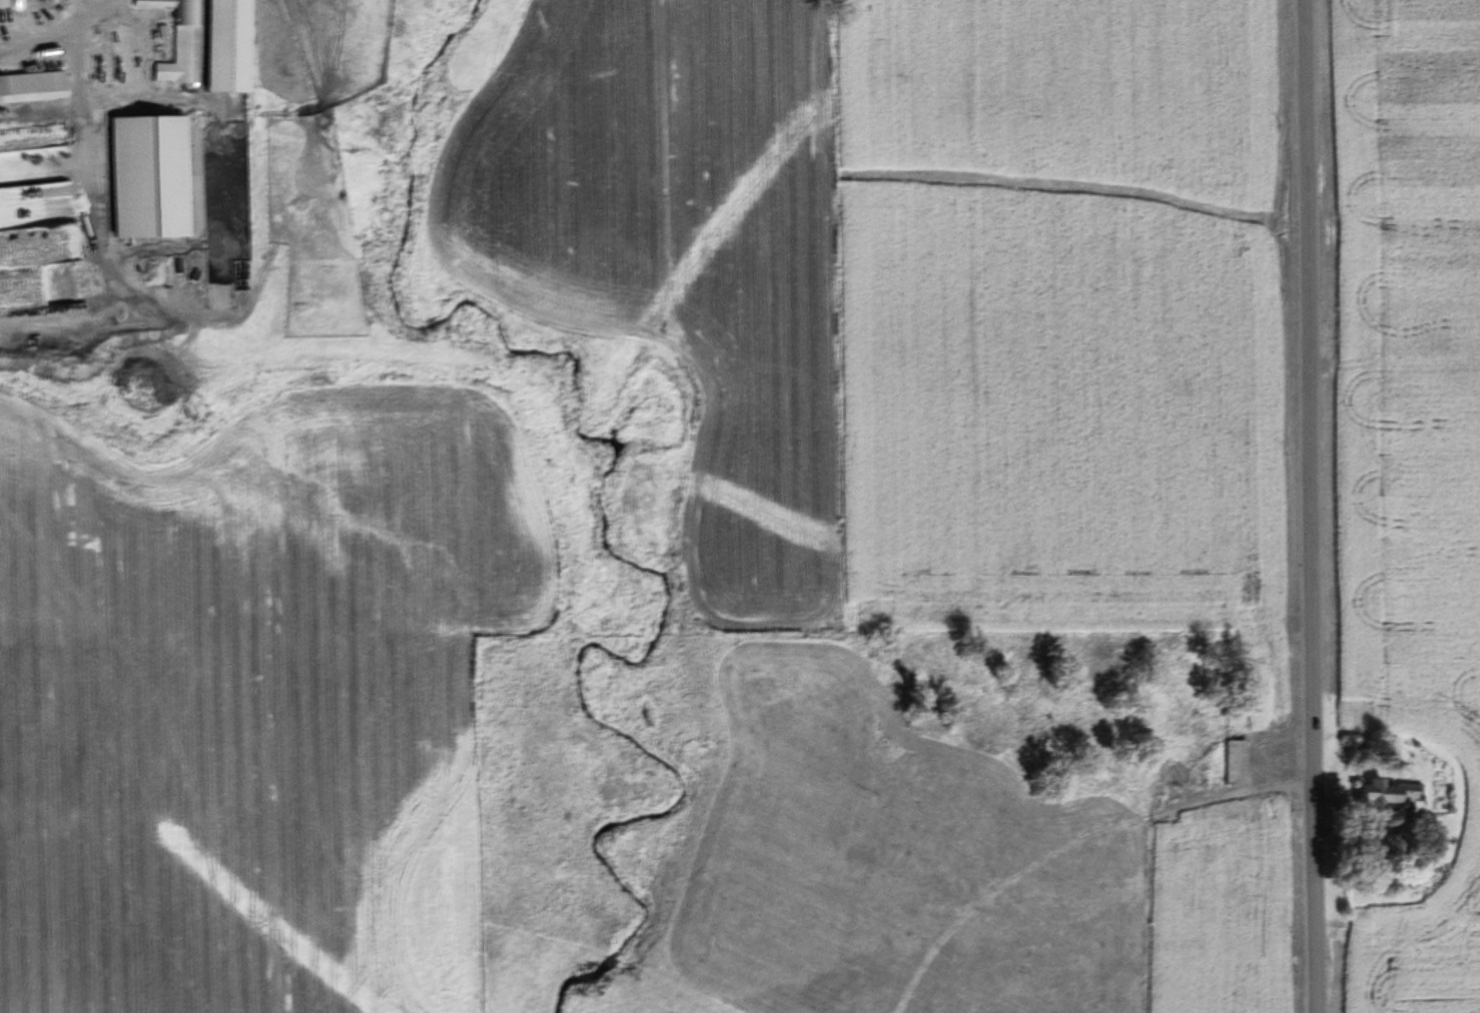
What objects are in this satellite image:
building: (0, 34)
building: (181, 41)
building: (231, 46)
building: (43, 86)
building: (152, 177)
road: (1308, 506)
building: (1238, 764)
building: (1180, 777)
building: (1390, 794)

